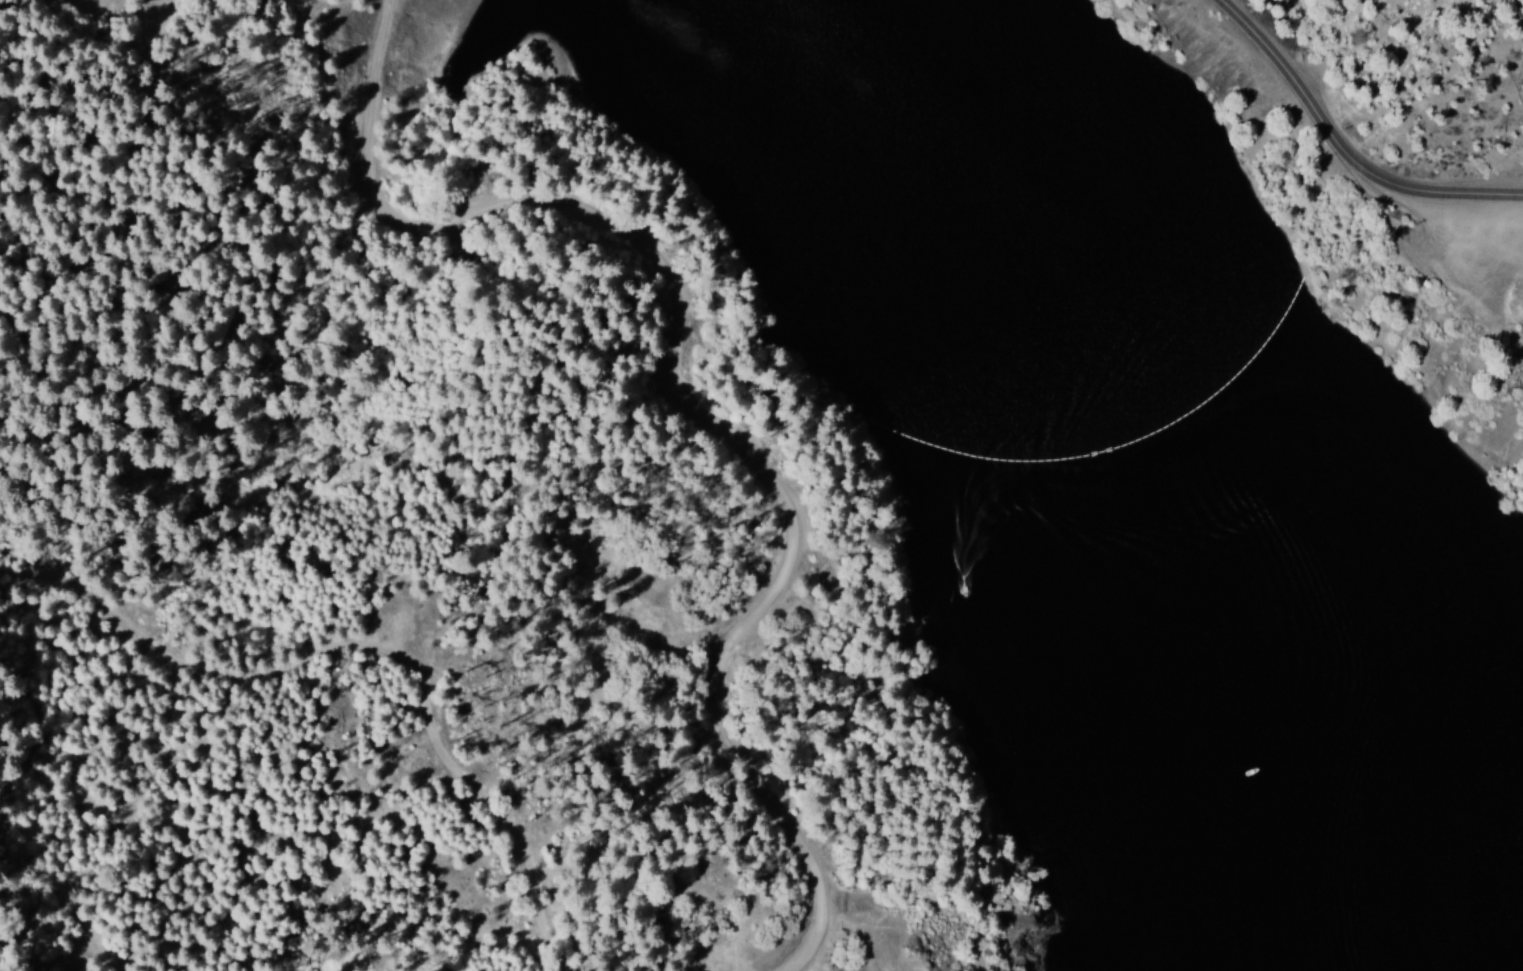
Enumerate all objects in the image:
dam: (415, 55)
road: (1360, 122)
river: (1010, 129)
road: (721, 386)
river: (1170, 465)
river: (1299, 818)

